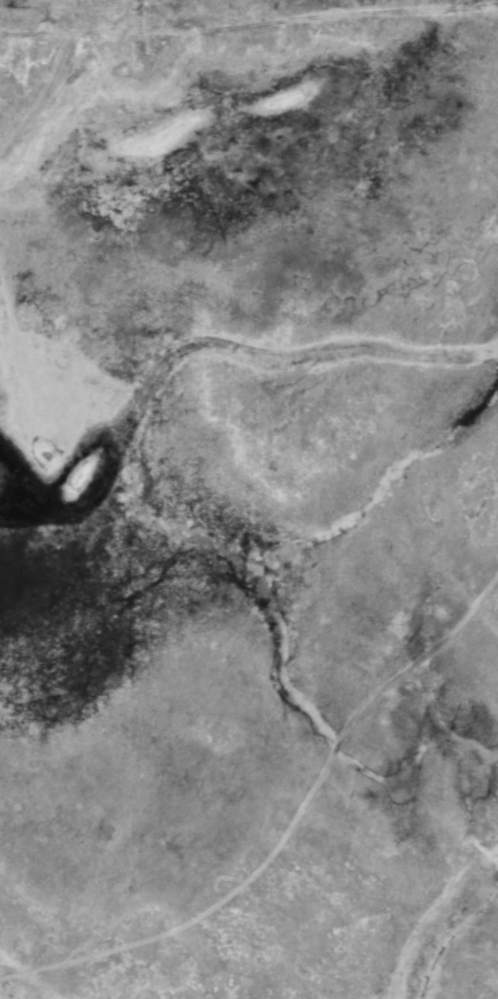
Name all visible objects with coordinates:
crop: (249, 499)

